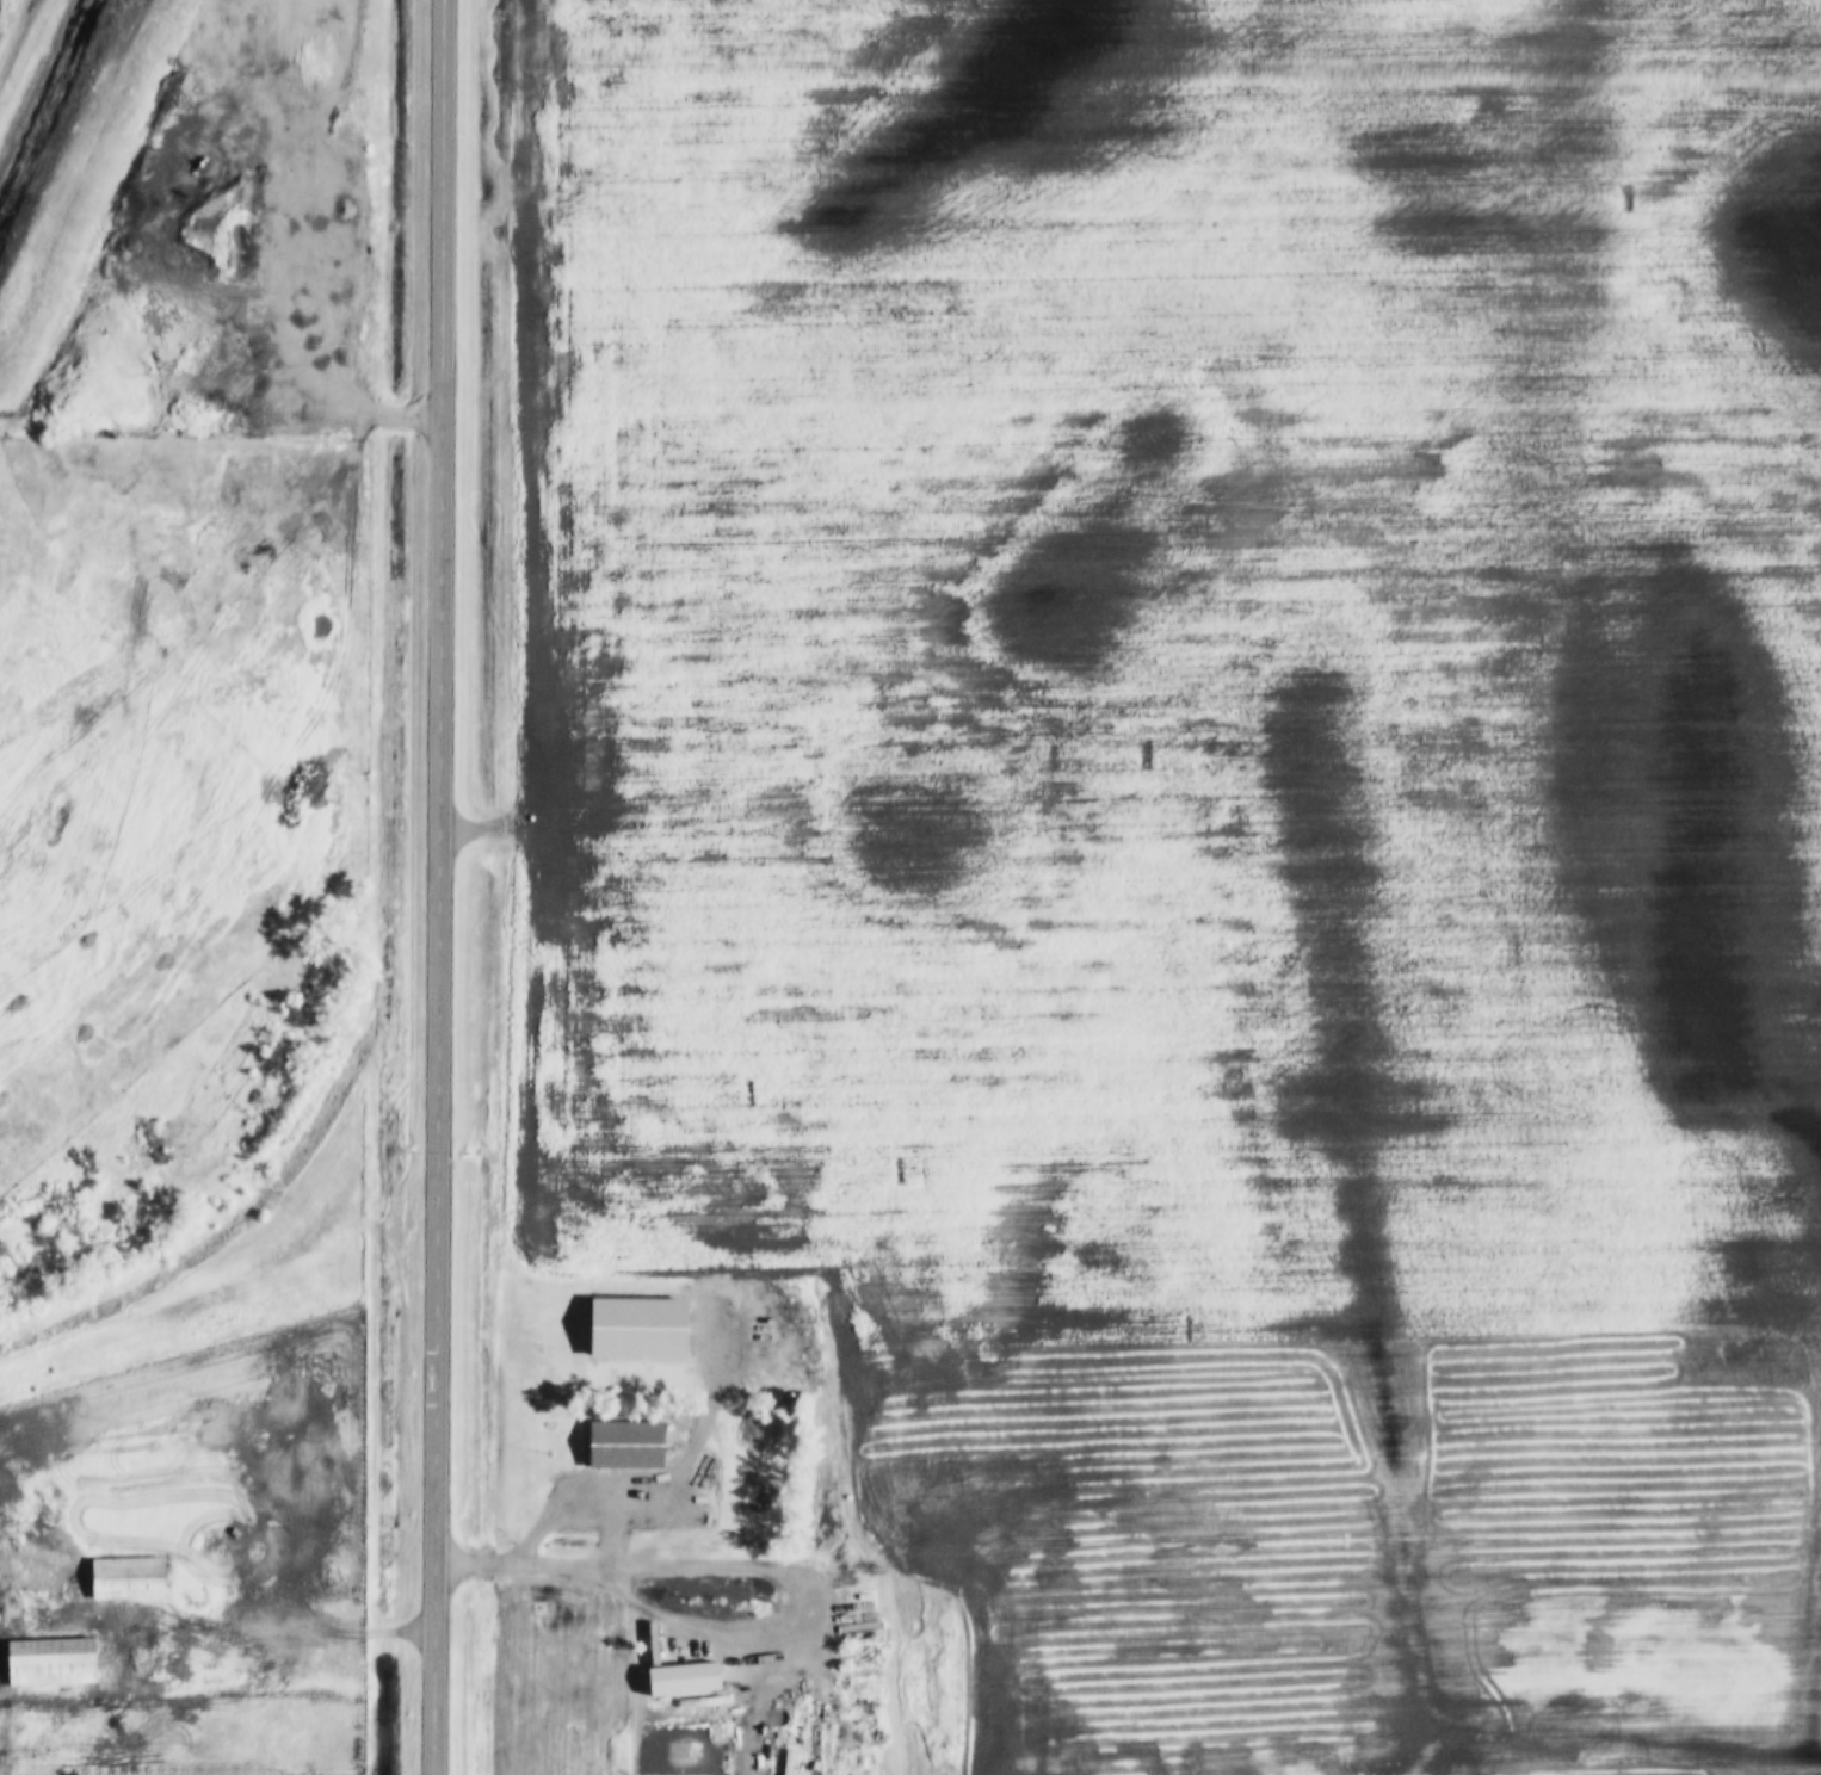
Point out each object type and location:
building: (252, 338)
building: (252, 376)
crop: (1200, 830)
road: (445, 887)
building: (638, 1328)
building: (626, 1445)
road: (773, 1561)
building: (128, 1577)
building: (51, 1662)
building: (708, 1671)

